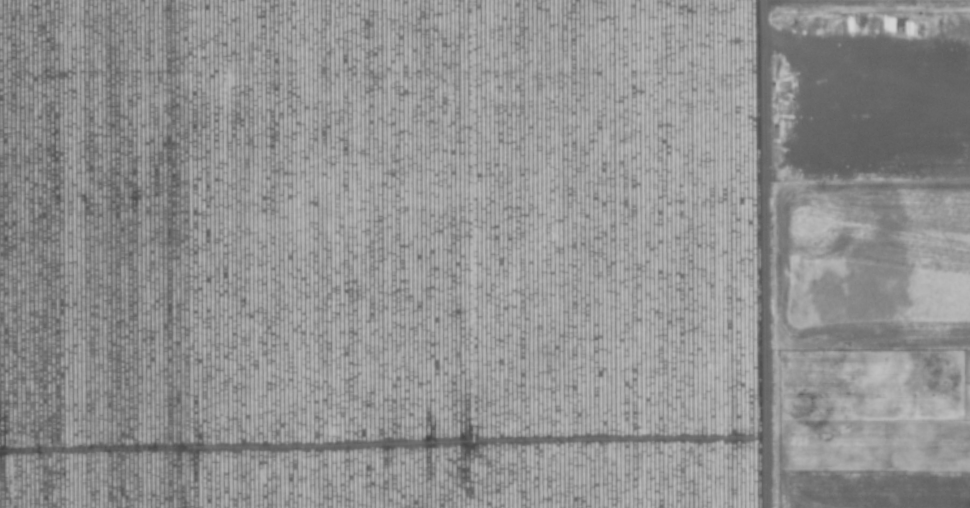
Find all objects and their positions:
road: (873, 2)
railway: (583, 254)

